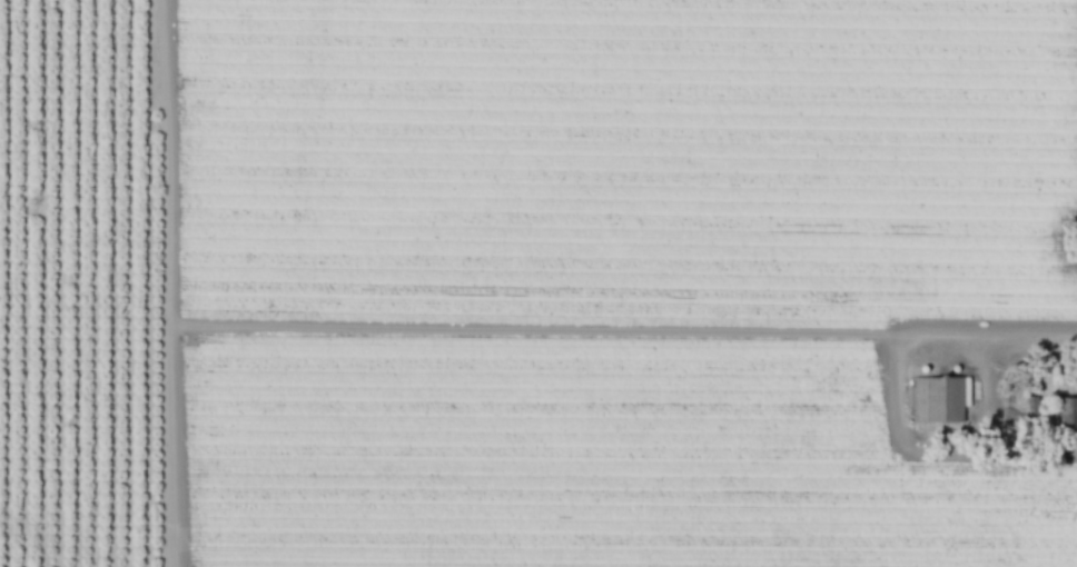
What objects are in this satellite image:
road: (989, 387)
building: (938, 399)
building: (1065, 410)

